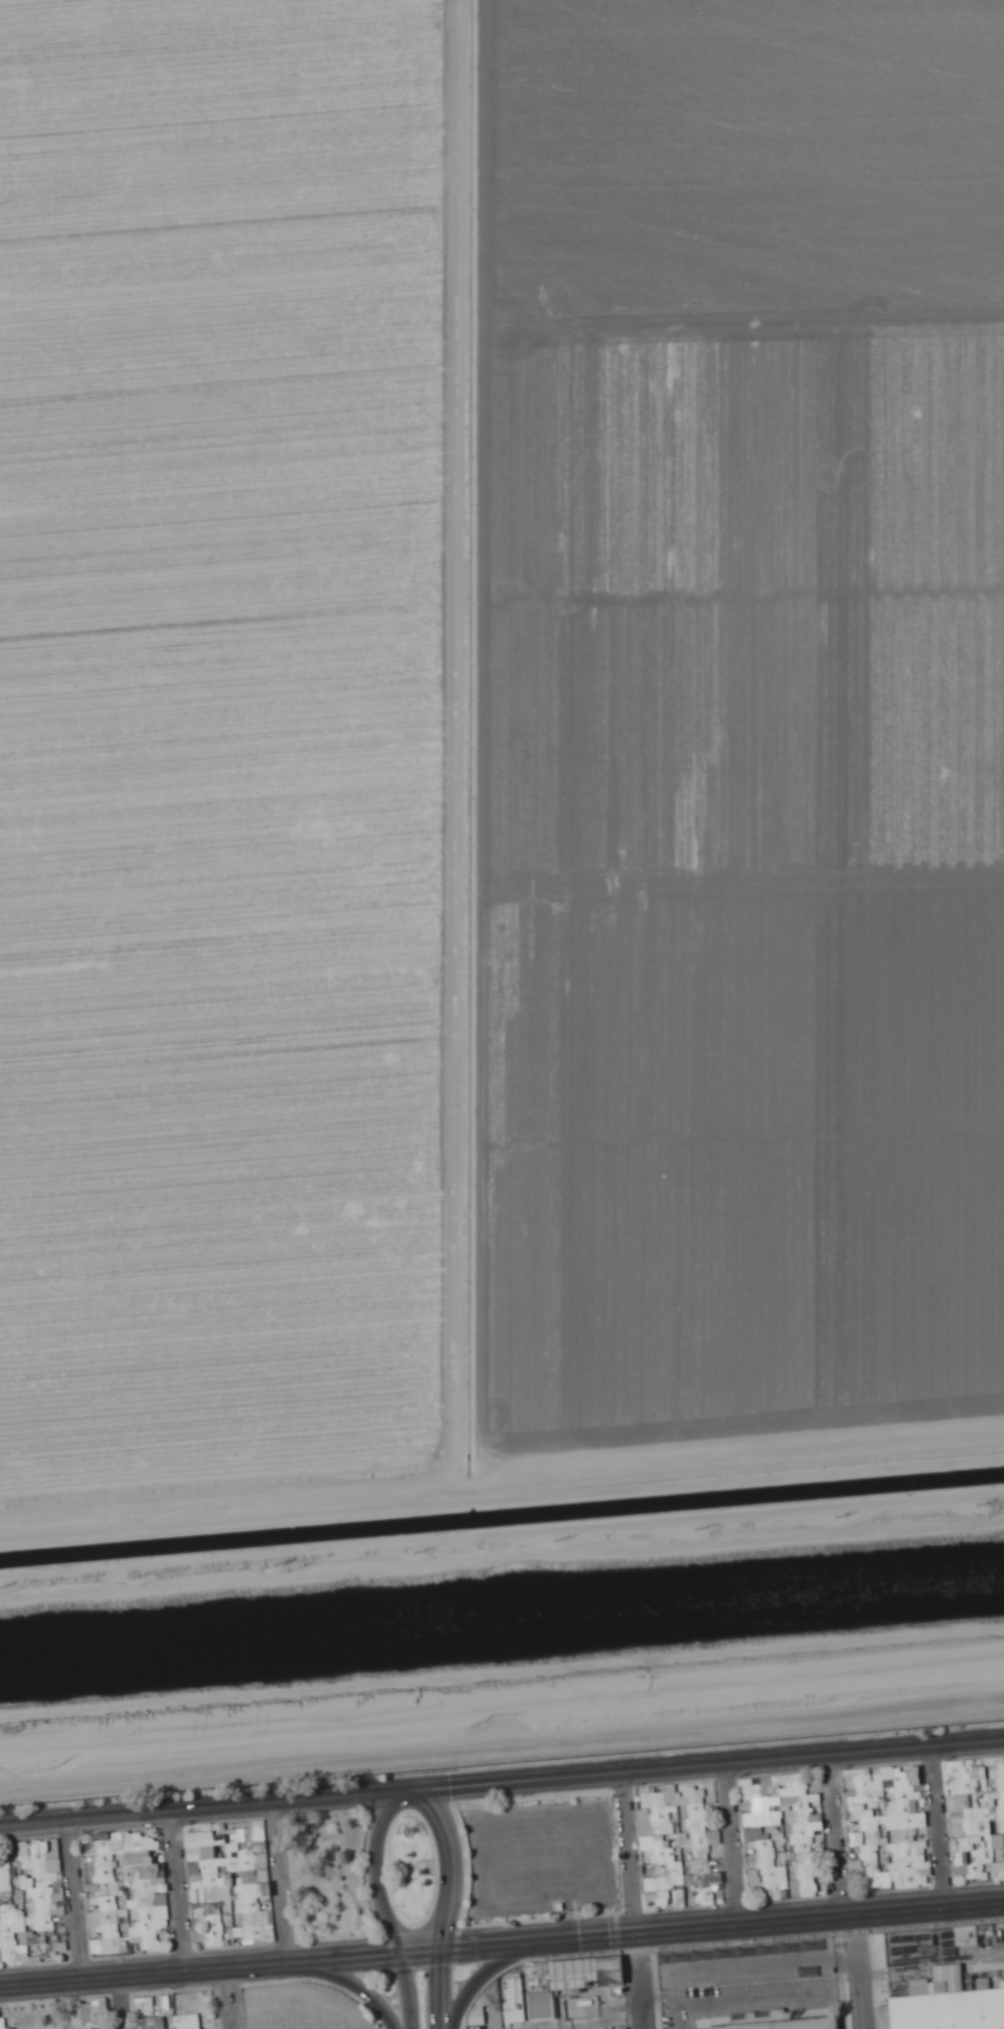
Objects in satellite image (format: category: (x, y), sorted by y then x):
road: (501, 1784)
building: (958, 1802)
road: (941, 1828)
road: (840, 1836)
road: (733, 1846)
road: (629, 1854)
building: (670, 1870)
road: (285, 1883)
road: (178, 1892)
building: (656, 1895)
road: (75, 1901)
building: (255, 1903)
road: (449, 1906)
road: (383, 1909)
road: (502, 1946)
road: (487, 1974)
building: (574, 1974)
road: (354, 1982)
road: (864, 1991)
building: (514, 1995)
road: (229, 1999)
road: (642, 2000)
road: (122, 2003)
building: (951, 2005)
building: (312, 2007)
building: (784, 2024)

